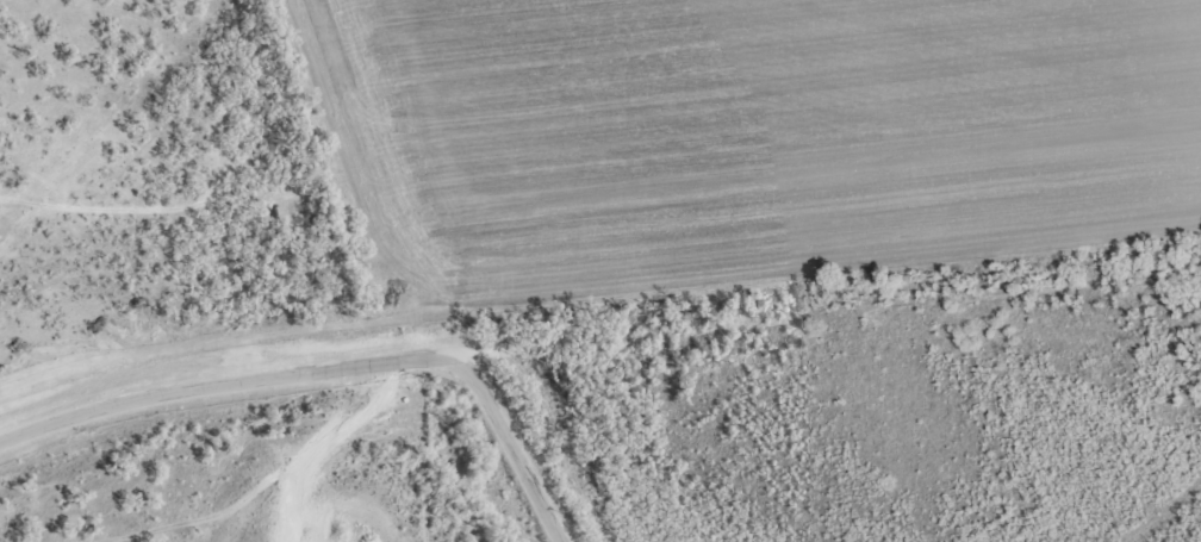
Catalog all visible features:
road: (33, 200)
road: (805, 318)
road: (204, 400)
road: (454, 461)

